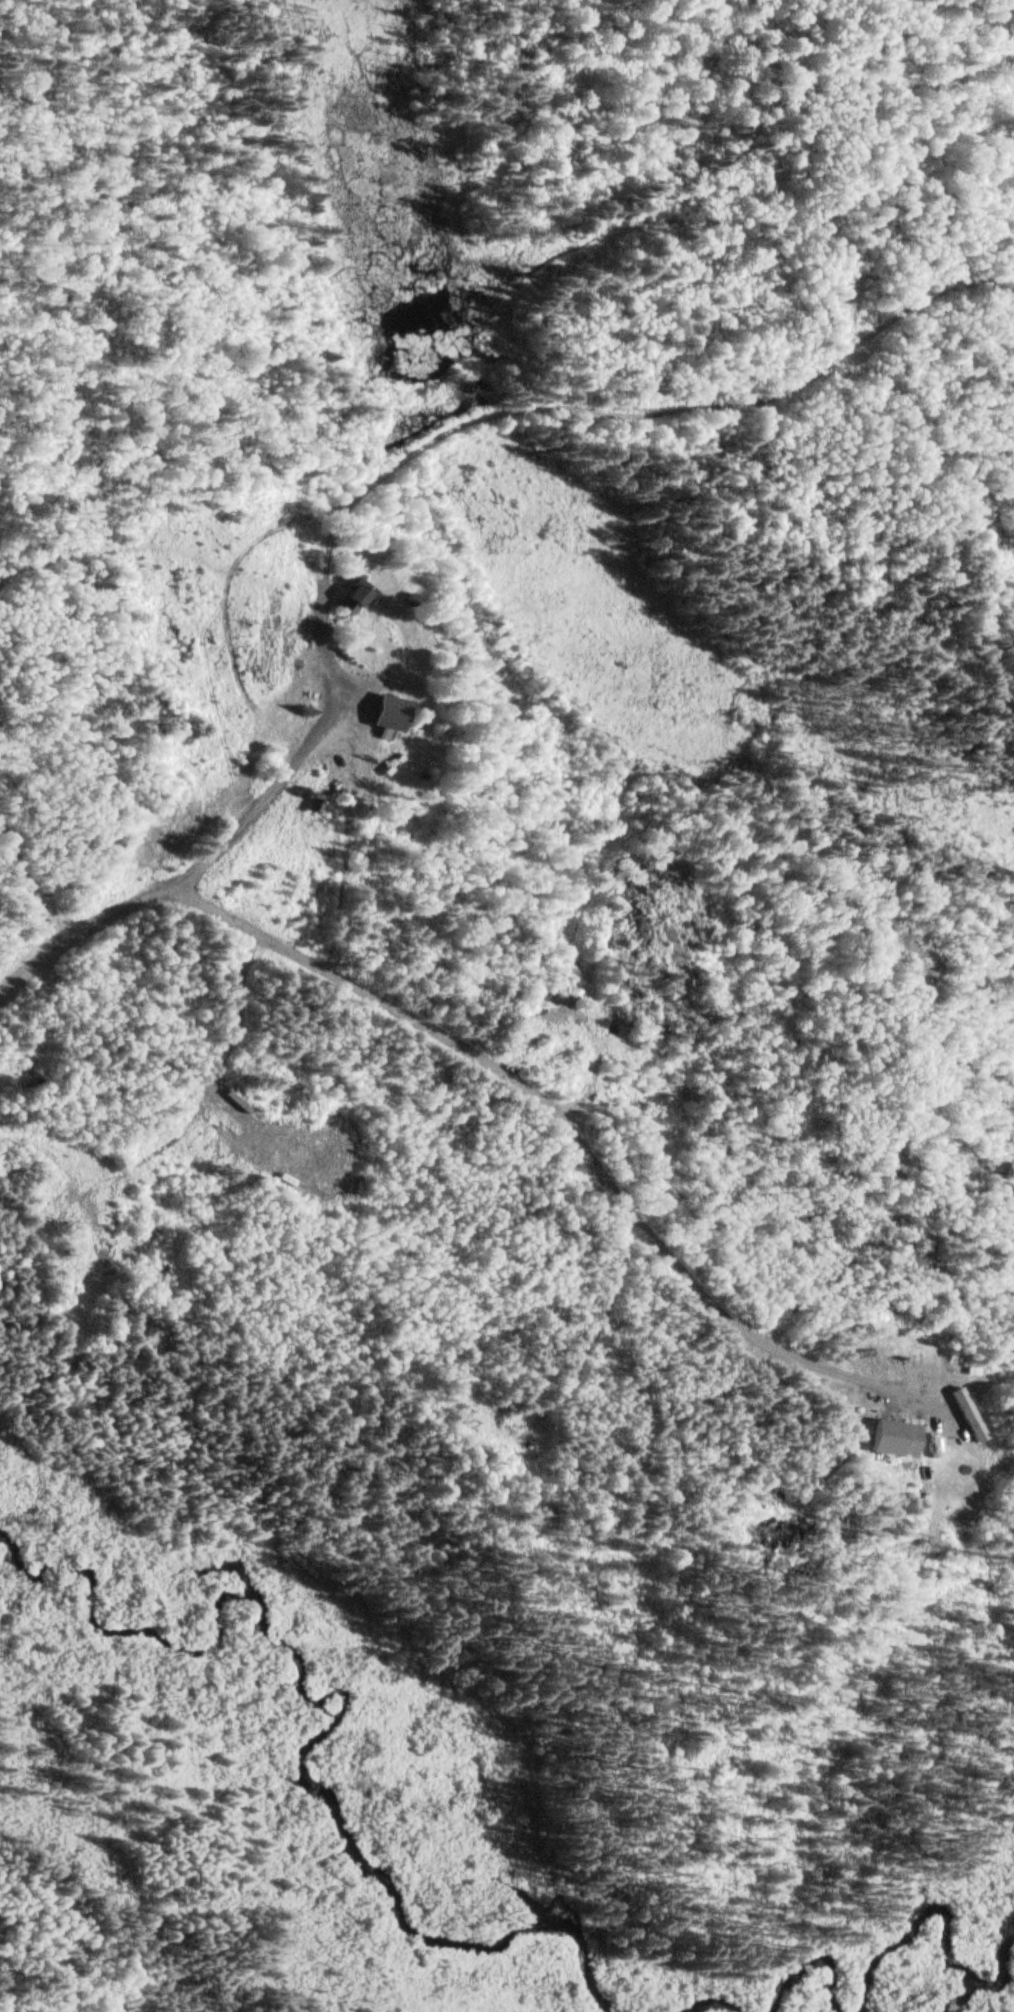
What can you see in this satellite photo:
building: (348, 596)
building: (386, 712)
road: (200, 879)
building: (545, 991)
road: (381, 1012)
building: (203, 1125)
building: (249, 1154)
building: (893, 1441)
building: (946, 1454)

